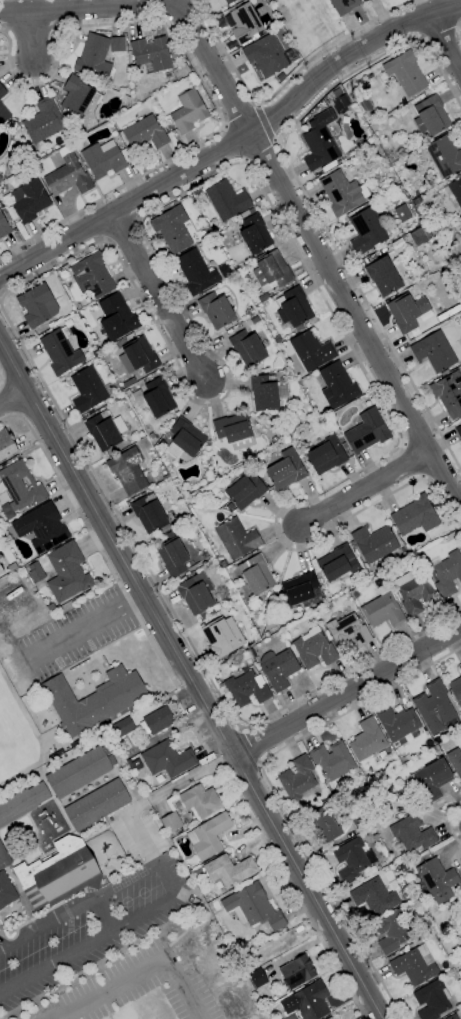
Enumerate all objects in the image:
building: (364, 0)
building: (366, 0)
building: (229, 1)
road: (160, 5)
building: (344, 5)
building: (243, 22)
road: (440, 31)
road: (32, 34)
road: (444, 42)
building: (152, 54)
building: (97, 55)
building: (266, 55)
building: (181, 71)
building: (406, 73)
road: (198, 76)
road: (285, 84)
building: (2, 92)
building: (78, 95)
power tower: (352, 100)
building: (189, 111)
building: (4, 113)
building: (431, 115)
building: (44, 121)
road: (264, 122)
building: (305, 127)
building: (146, 133)
road: (234, 142)
building: (319, 148)
building: (444, 156)
building: (103, 159)
building: (68, 177)
building: (1, 179)
road: (305, 192)
building: (342, 192)
building: (454, 192)
building: (30, 200)
building: (228, 200)
building: (417, 200)
building: (251, 210)
building: (402, 213)
building: (4, 226)
building: (173, 229)
building: (367, 229)
building: (255, 234)
building: (420, 236)
building: (237, 239)
building: (196, 272)
building: (271, 272)
building: (92, 275)
building: (241, 276)
building: (384, 276)
road: (158, 297)
road: (0, 300)
building: (37, 305)
building: (294, 308)
building: (217, 310)
building: (407, 311)
building: (117, 317)
road: (355, 319)
building: (255, 321)
building: (51, 324)
building: (278, 339)
building: (248, 348)
building: (312, 350)
building: (61, 351)
building: (434, 351)
building: (95, 353)
building: (137, 357)
road: (1, 380)
building: (338, 385)
building: (88, 390)
building: (268, 392)
building: (449, 393)
road: (13, 396)
building: (155, 398)
road: (212, 402)
building: (103, 431)
building: (234, 431)
building: (367, 431)
building: (459, 431)
building: (153, 437)
building: (186, 440)
building: (6, 445)
building: (344, 445)
building: (326, 455)
building: (128, 470)
building: (286, 470)
building: (165, 477)
building: (151, 485)
road: (368, 487)
building: (20, 488)
building: (245, 490)
building: (230, 506)
building: (150, 514)
building: (415, 515)
building: (171, 516)
building: (41, 528)
building: (237, 538)
building: (374, 543)
road: (99, 548)
building: (355, 554)
building: (173, 555)
building: (1, 559)
building: (338, 563)
building: (12, 567)
building: (1, 570)
building: (36, 571)
building: (67, 572)
building: (447, 572)
building: (257, 574)
building: (354, 590)
building: (300, 591)
building: (414, 592)
building: (198, 594)
building: (269, 597)
building: (175, 599)
building: (51, 607)
building: (383, 609)
road: (90, 623)
building: (348, 631)
building: (223, 636)
building: (314, 648)
building: (252, 653)
building: (460, 667)
building: (278, 668)
road: (191, 679)
building: (246, 688)
building: (456, 689)
road: (346, 690)
building: (94, 699)
building: (436, 708)
building: (157, 721)
building: (398, 722)
building: (122, 728)
park: (12, 731)
building: (367, 740)
road: (252, 746)
building: (435, 749)
building: (57, 754)
building: (167, 759)
building: (333, 760)
building: (455, 760)
building: (80, 771)
building: (433, 779)
building: (296, 780)
building: (386, 788)
road: (275, 792)
road: (157, 797)
building: (201, 801)
building: (22, 803)
building: (97, 805)
building: (171, 822)
road: (452, 823)
building: (323, 824)
building: (412, 833)
building: (208, 836)
building: (375, 838)
building: (4, 858)
building: (353, 859)
building: (229, 871)
building: (199, 872)
building: (59, 874)
building: (437, 880)
road: (173, 888)
road: (293, 890)
building: (6, 891)
building: (376, 896)
building: (253, 907)
road: (104, 914)
parking lot: (91, 929)
building: (391, 932)
building: (415, 965)
building: (297, 972)
road: (138, 973)
building: (257, 978)
parking lot: (111, 987)
building: (264, 996)
parking lot: (190, 998)
building: (432, 1000)
building: (308, 1001)
road: (55, 1017)
building: (452, 1017)
building: (330, 1018)

